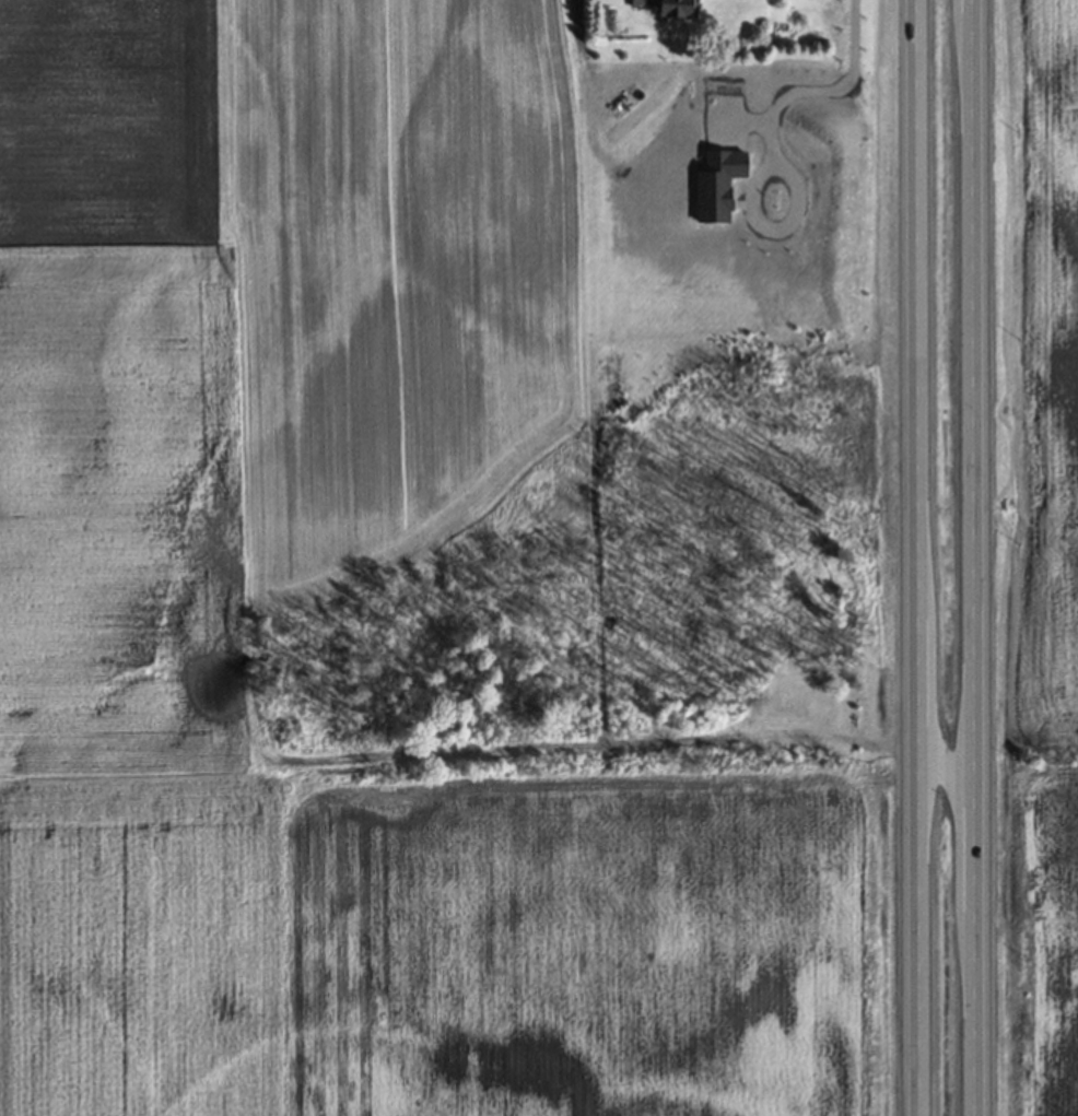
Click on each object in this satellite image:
building: (659, 7)
road: (856, 119)
road: (914, 557)
road: (973, 557)

